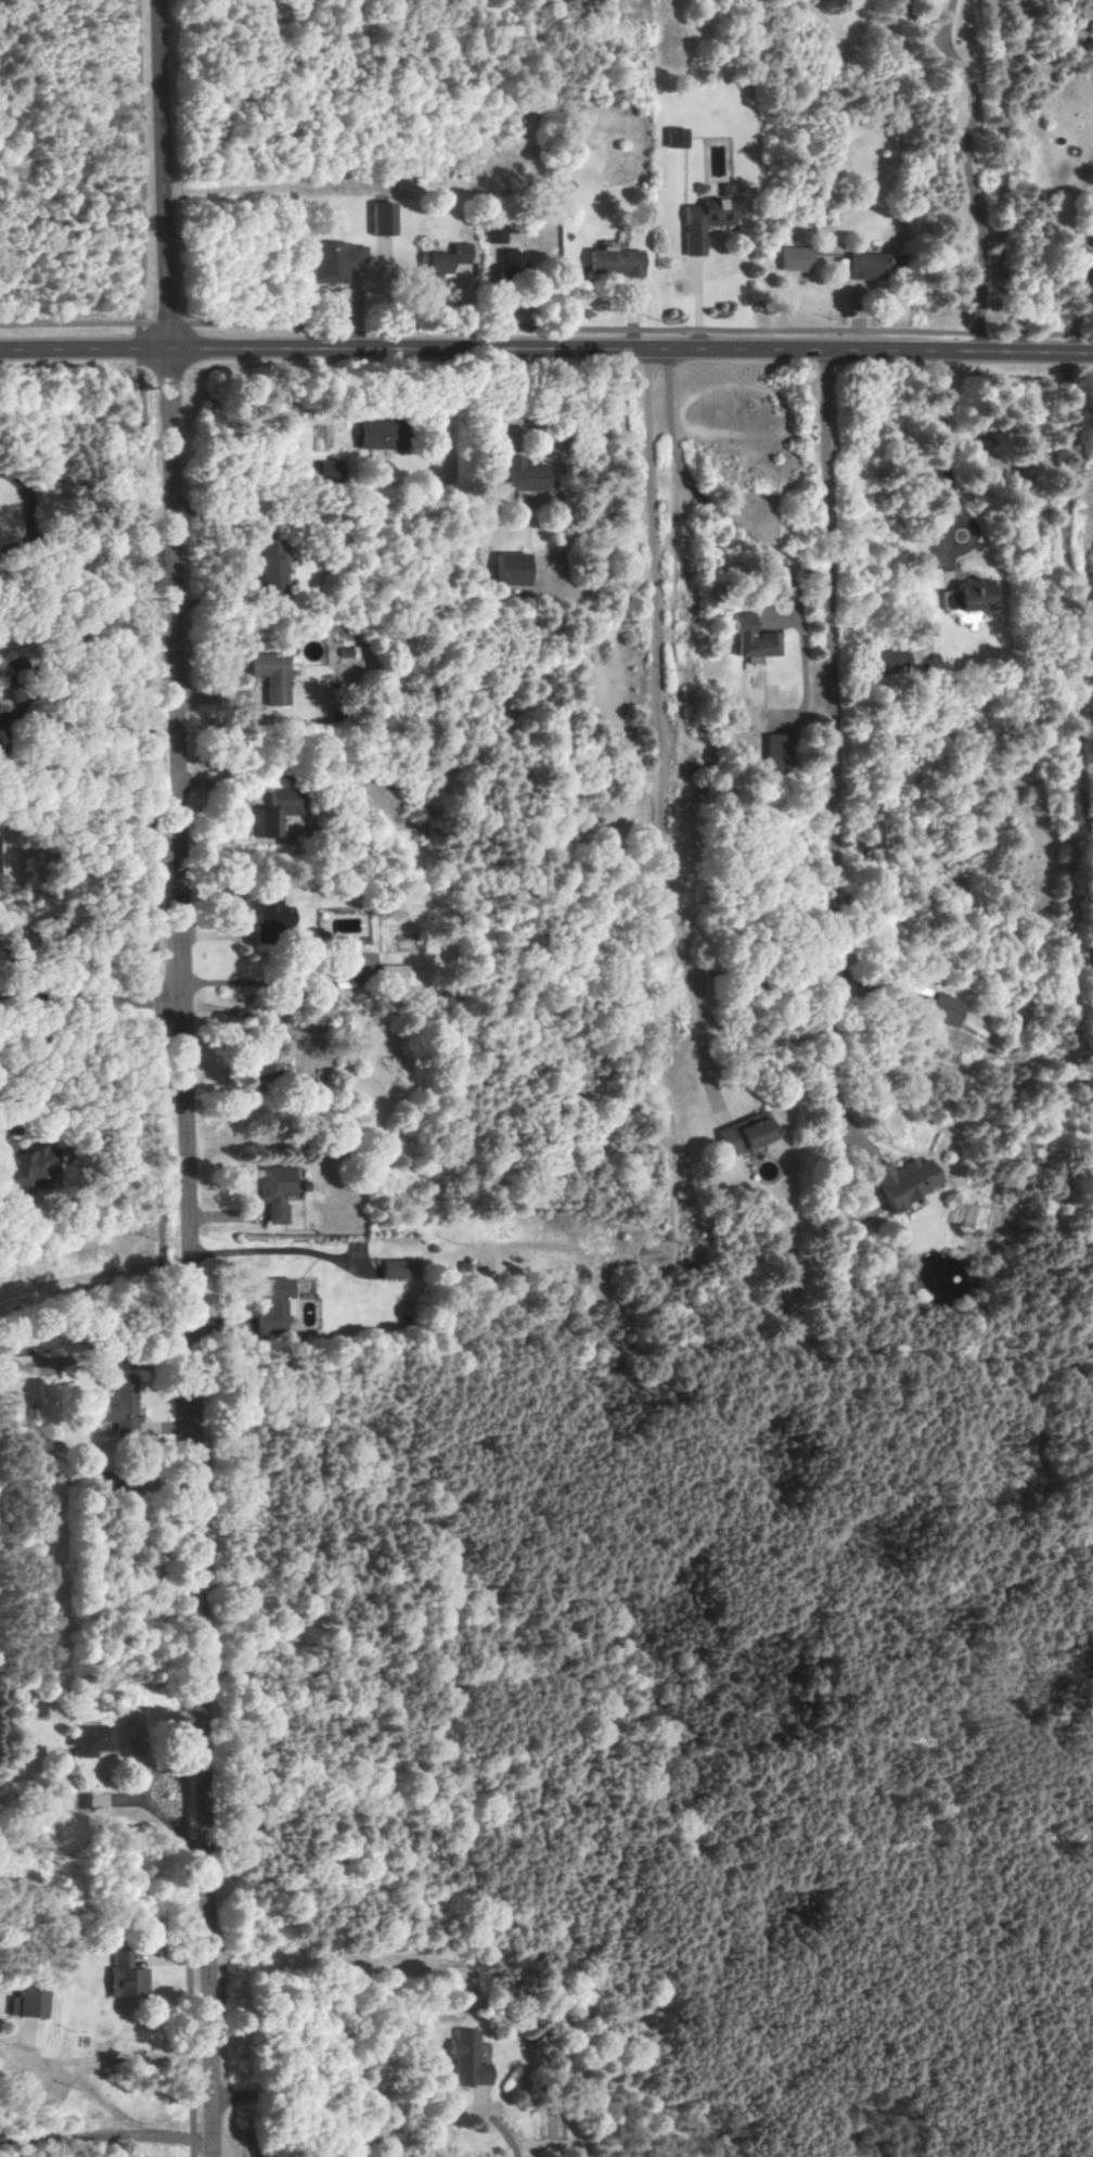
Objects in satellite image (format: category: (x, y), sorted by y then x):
road: (944, 21)
road: (920, 22)
building: (673, 138)
road: (1002, 180)
road: (972, 194)
building: (377, 219)
building: (703, 219)
building: (492, 232)
building: (1089, 239)
building: (792, 259)
building: (442, 260)
building: (506, 260)
building: (332, 261)
building: (608, 261)
building: (864, 266)
road: (545, 327)
road: (546, 350)
building: (430, 435)
building: (372, 436)
road: (943, 446)
building: (323, 471)
building: (519, 475)
road: (686, 482)
building: (270, 569)
building: (509, 569)
road: (1072, 603)
building: (747, 639)
road: (64, 653)
building: (890, 661)
building: (267, 676)
road: (658, 732)
road: (835, 748)
building: (770, 750)
building: (272, 813)
building: (267, 910)
road: (1091, 942)
building: (394, 975)
road: (92, 999)
building: (942, 1009)
road: (37, 1052)
building: (265, 1067)
road: (187, 1078)
road: (162, 1081)
building: (743, 1134)
building: (25, 1163)
building: (899, 1182)
building: (273, 1192)
road: (275, 1249)
building: (391, 1269)
building: (272, 1306)
building: (12, 1366)
building: (120, 1405)
road: (816, 1438)
road: (1026, 1441)
road: (394, 1545)
park: (674, 1730)
building: (93, 1741)
building: (82, 1800)
road: (569, 1834)
road: (963, 1902)
building: (128, 1977)
building: (33, 2003)
building: (468, 2059)
road: (69, 2075)
road: (883, 2086)
road: (304, 2097)
road: (74, 2135)

